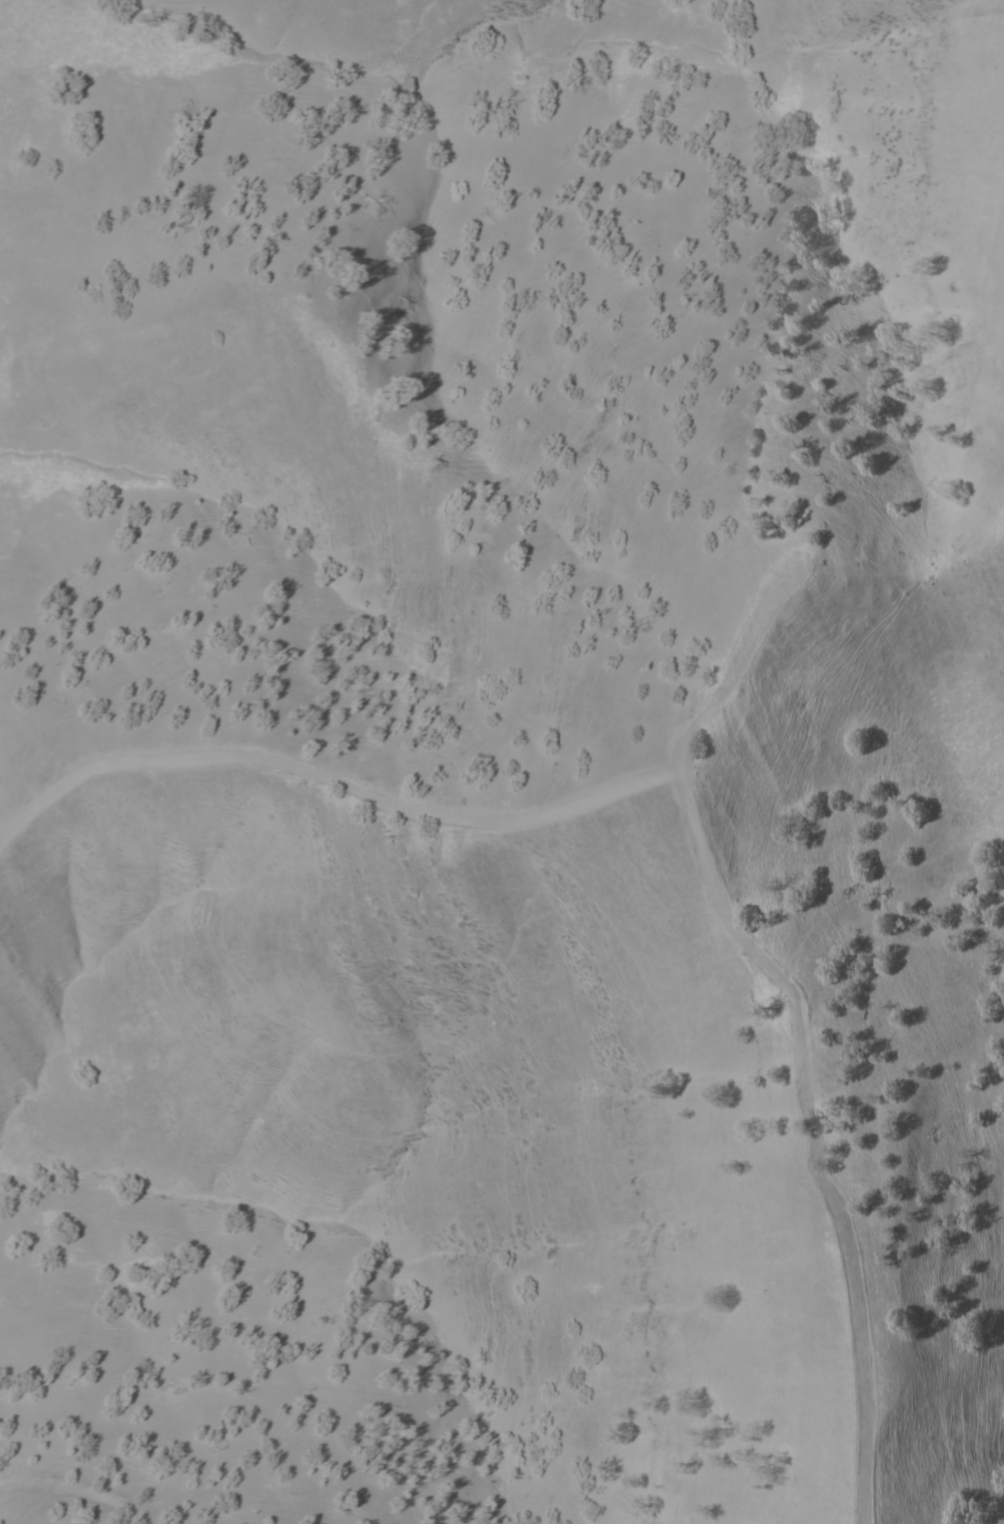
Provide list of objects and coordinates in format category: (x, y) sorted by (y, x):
road: (10, 27)

